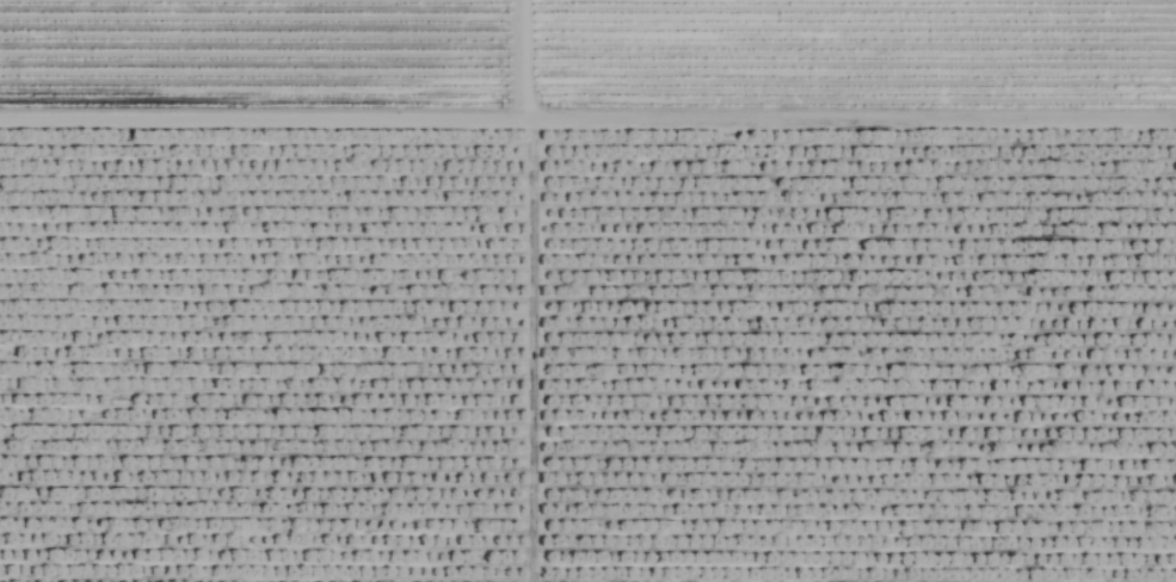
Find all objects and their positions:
road: (511, 62)
road: (621, 123)

